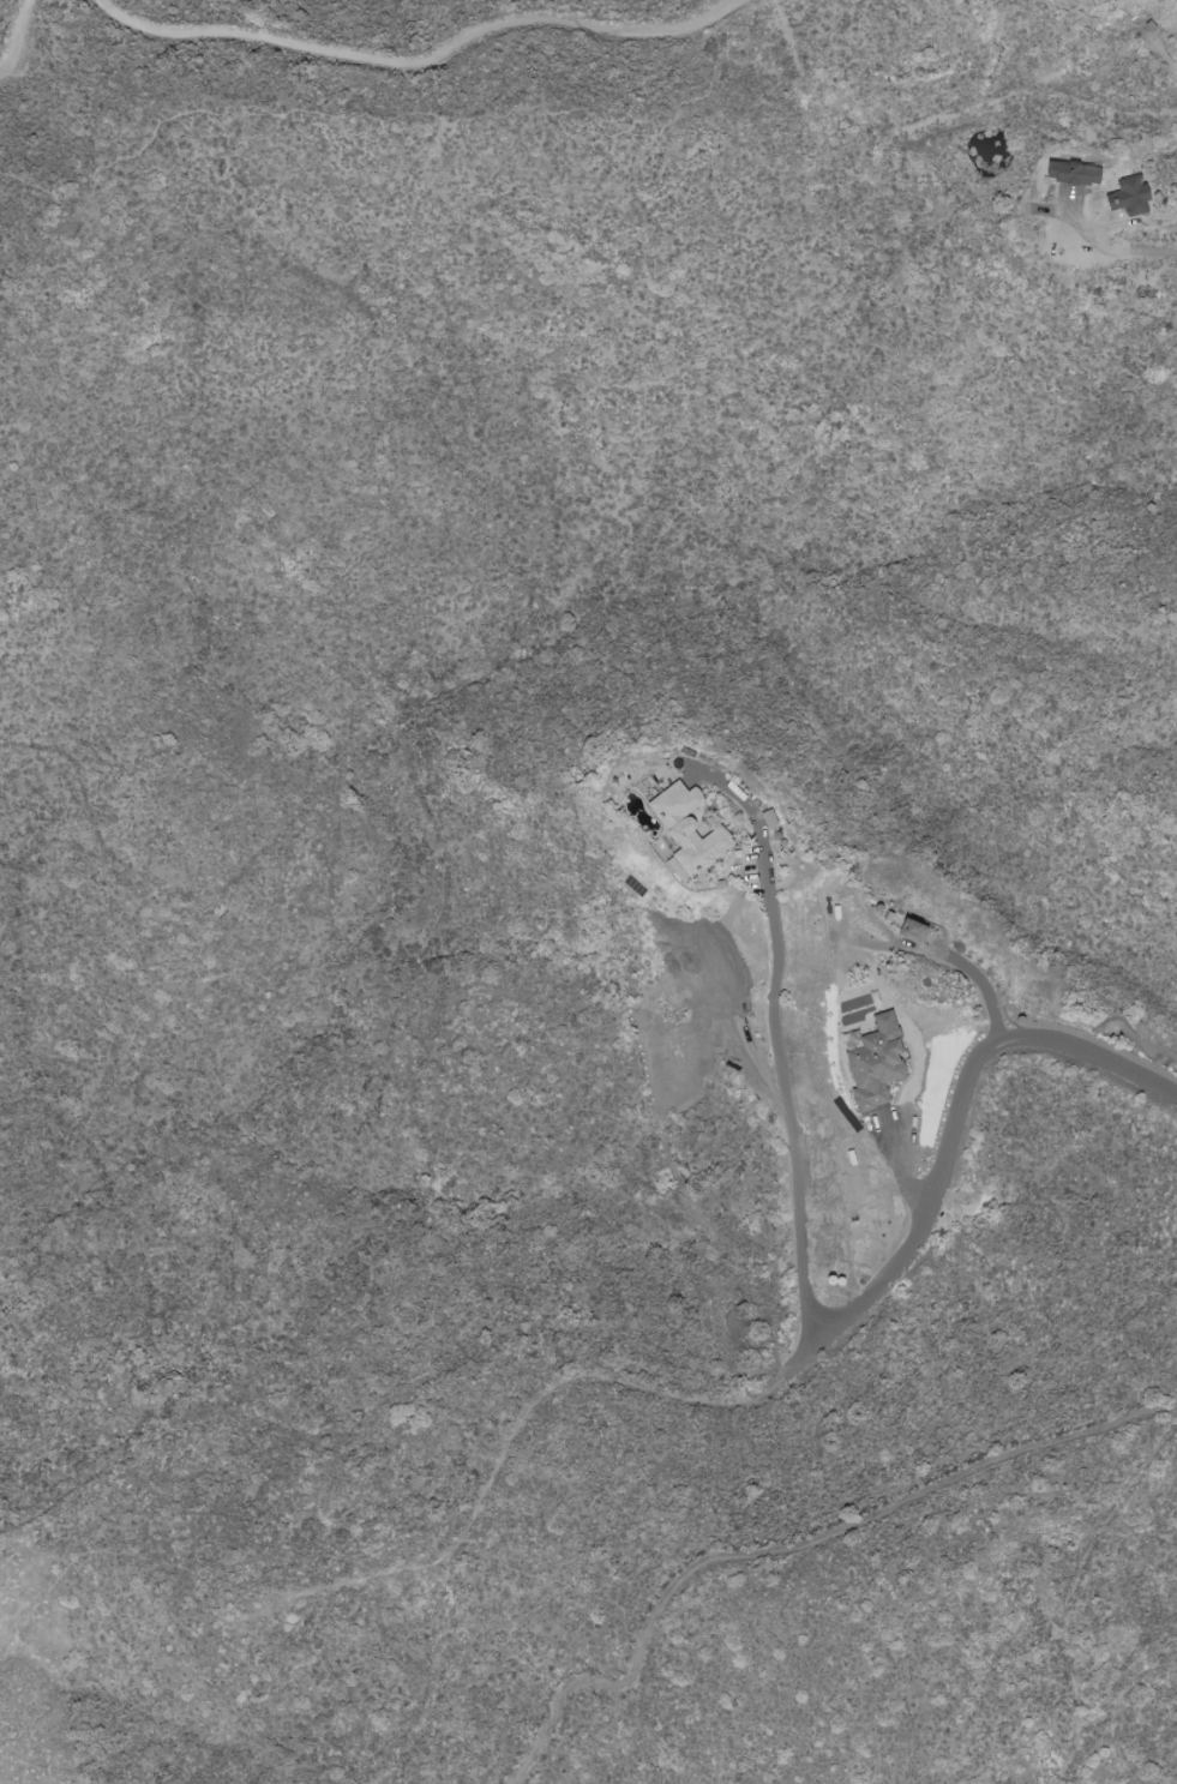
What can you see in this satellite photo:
building: (1111, 0)
road: (17, 35)
road: (426, 64)
building: (1076, 174)
building: (1133, 197)
road: (1121, 247)
building: (771, 817)
building: (690, 828)
building: (917, 929)
road: (883, 991)
road: (780, 1044)
building: (877, 1063)
road: (959, 1116)
road: (521, 1459)
road: (794, 1550)

